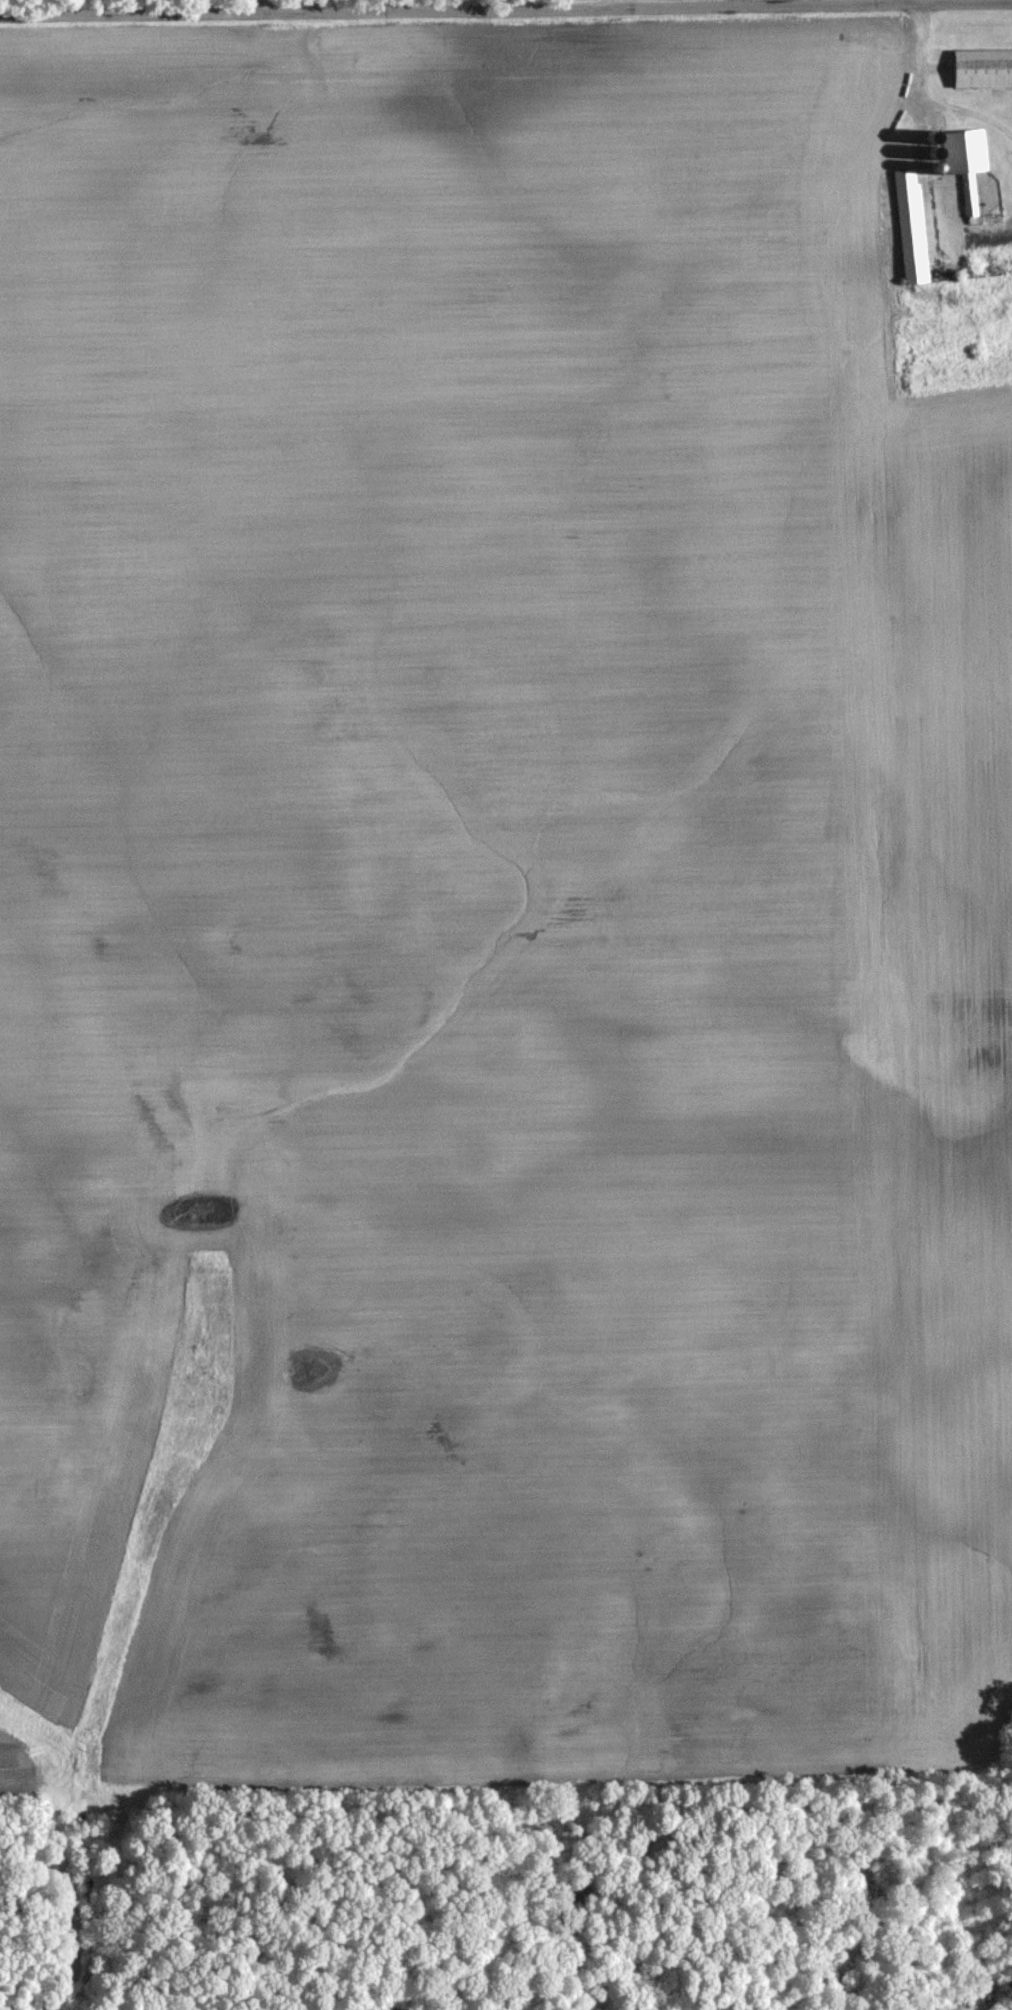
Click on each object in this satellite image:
road: (254, 8)
road: (506, 13)
building: (979, 68)
road: (926, 97)
building: (962, 161)
building: (908, 220)

